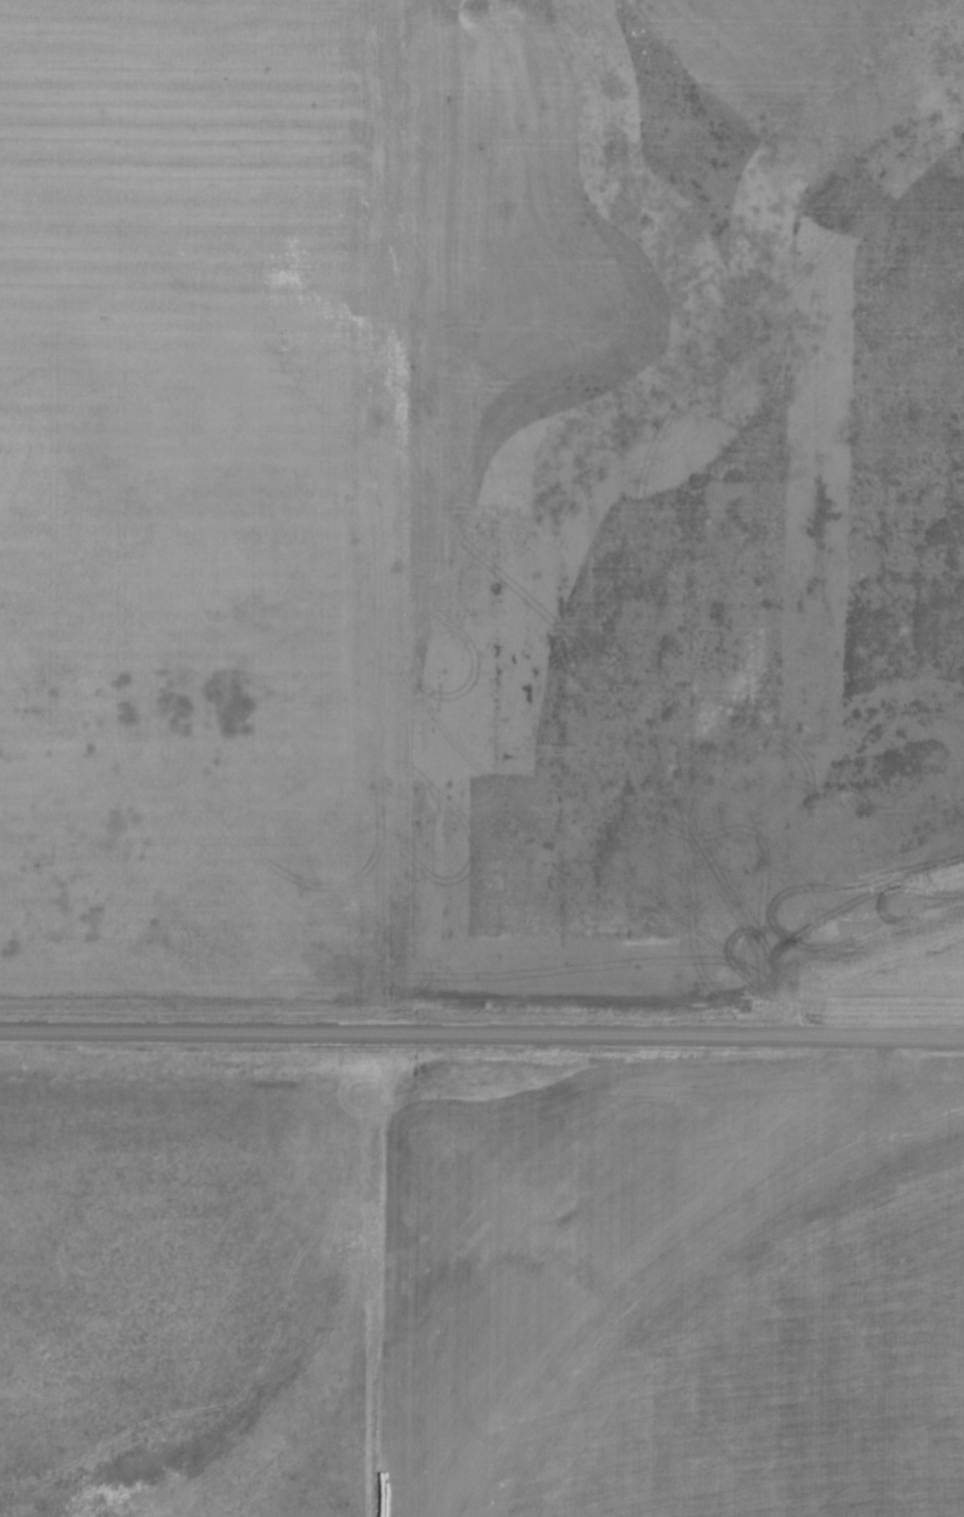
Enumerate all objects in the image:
crop: (482, 505)
road: (482, 1035)
crop: (712, 1316)

